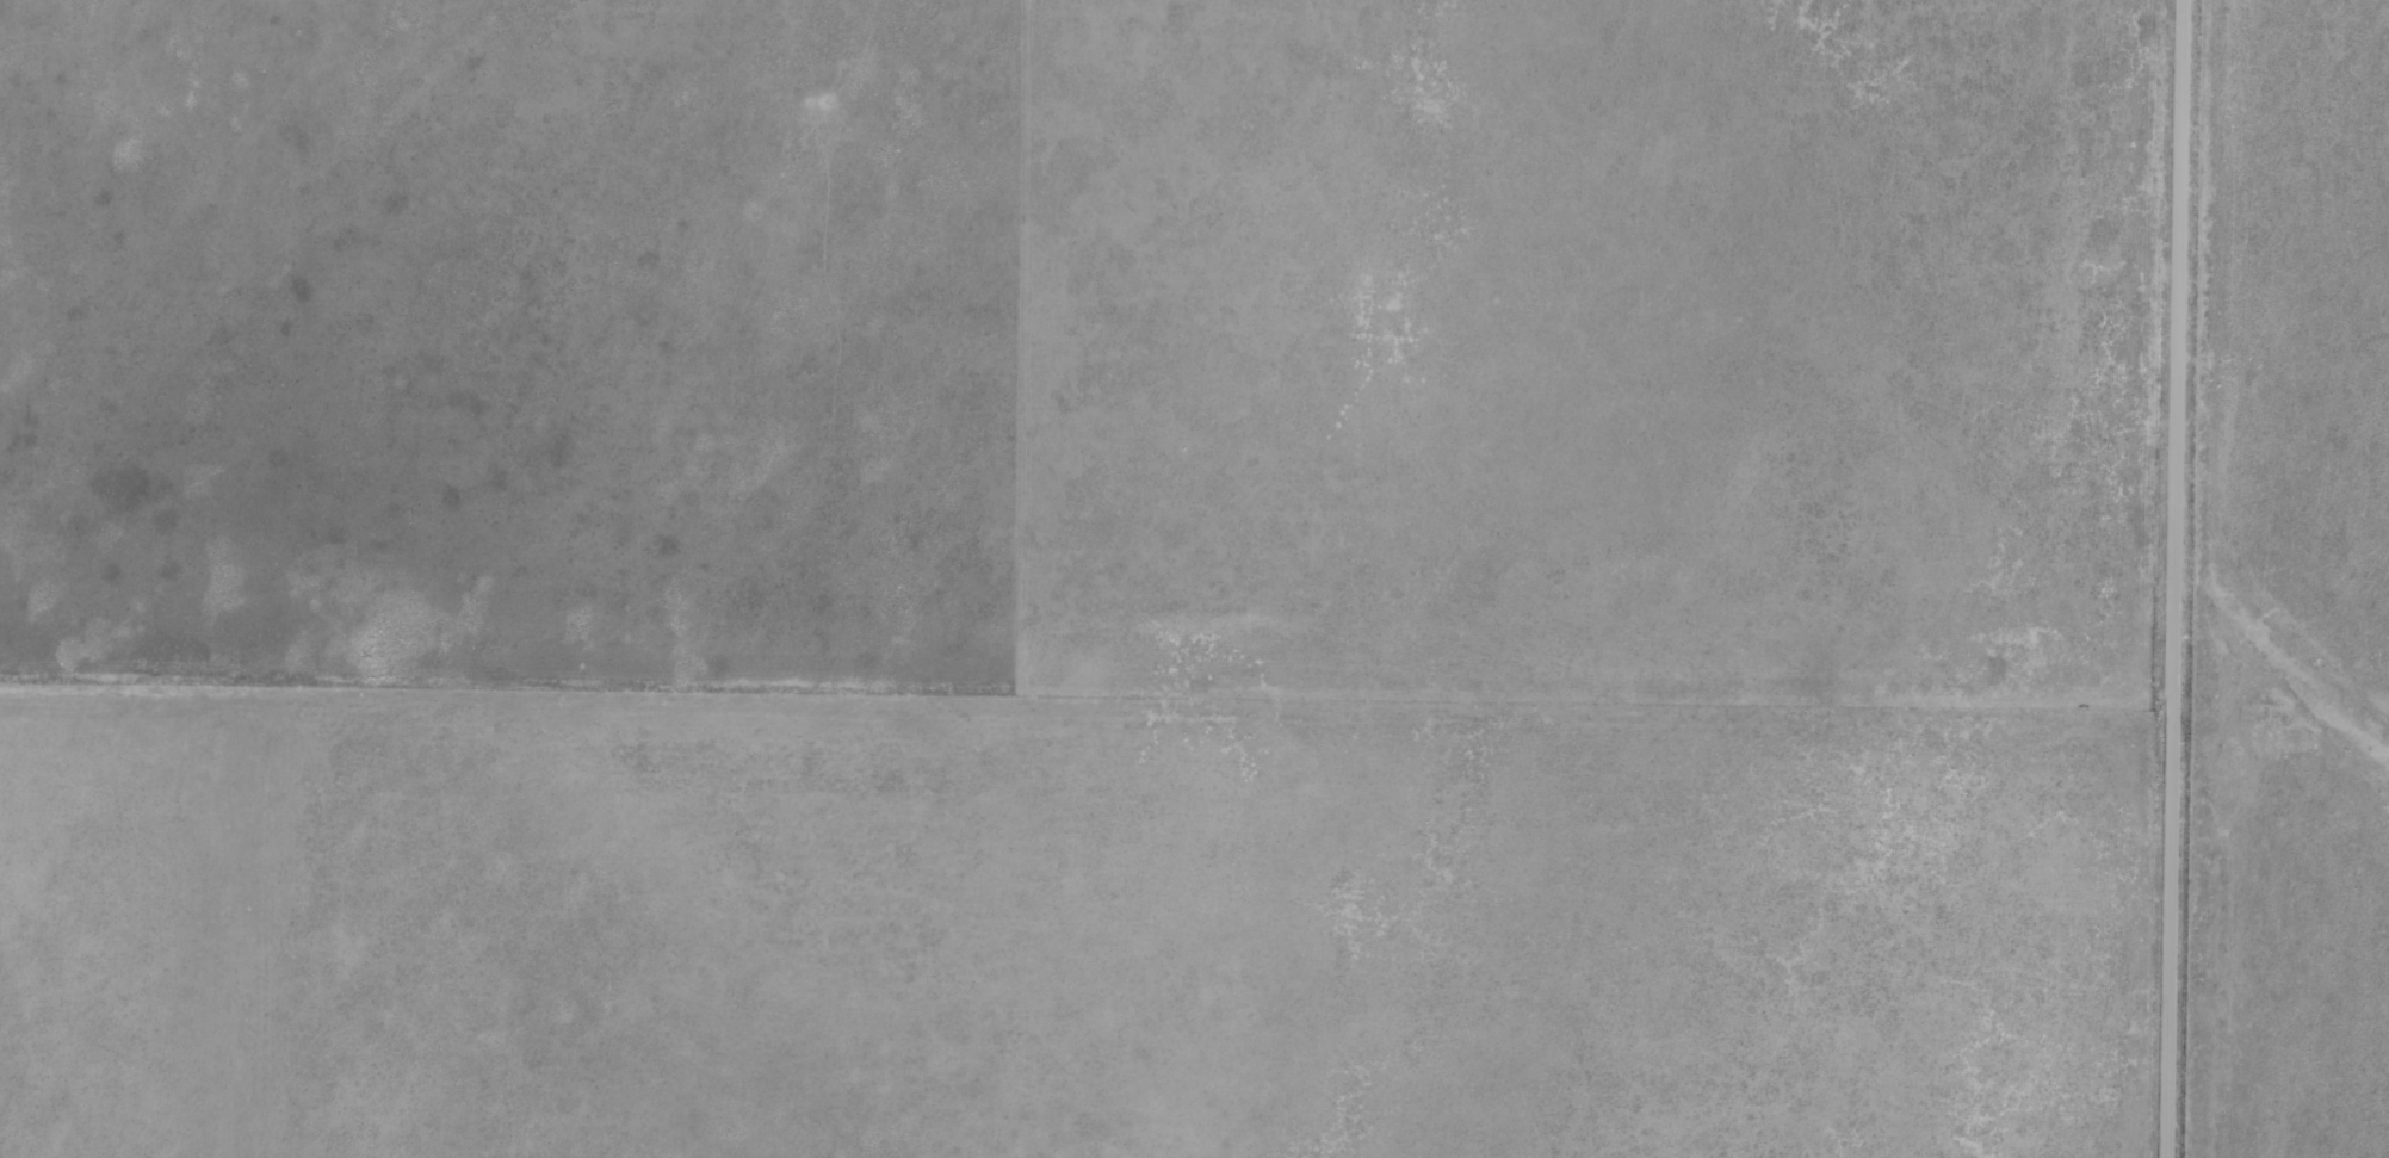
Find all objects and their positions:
road: (2179, 578)

